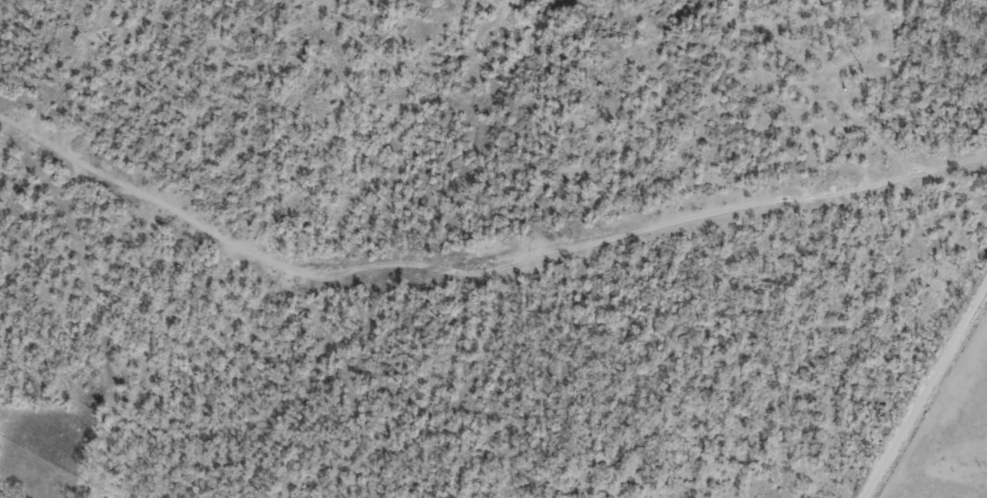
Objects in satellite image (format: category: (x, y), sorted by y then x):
road: (308, 286)
road: (926, 389)

